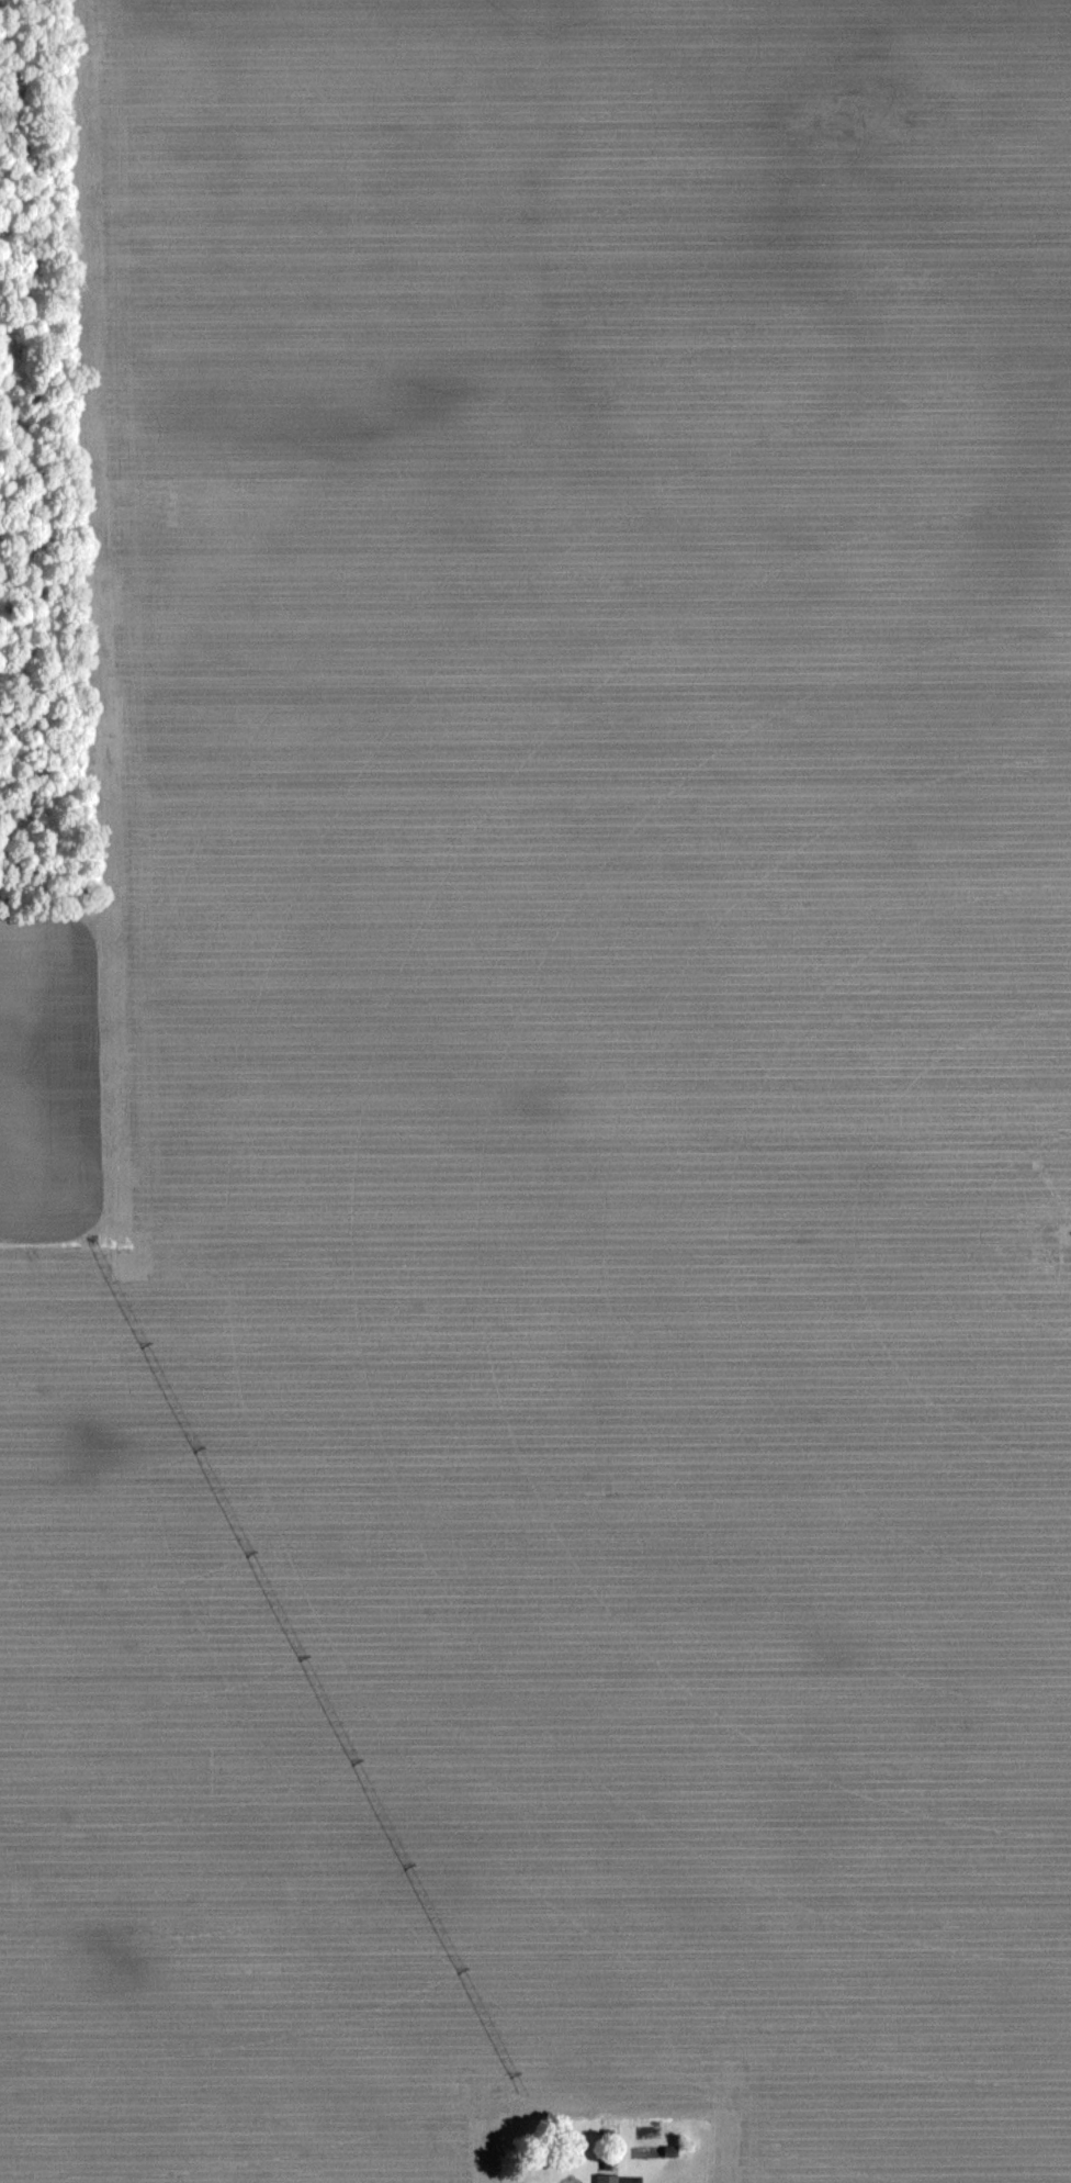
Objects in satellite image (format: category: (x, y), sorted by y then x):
building: (611, 2178)

